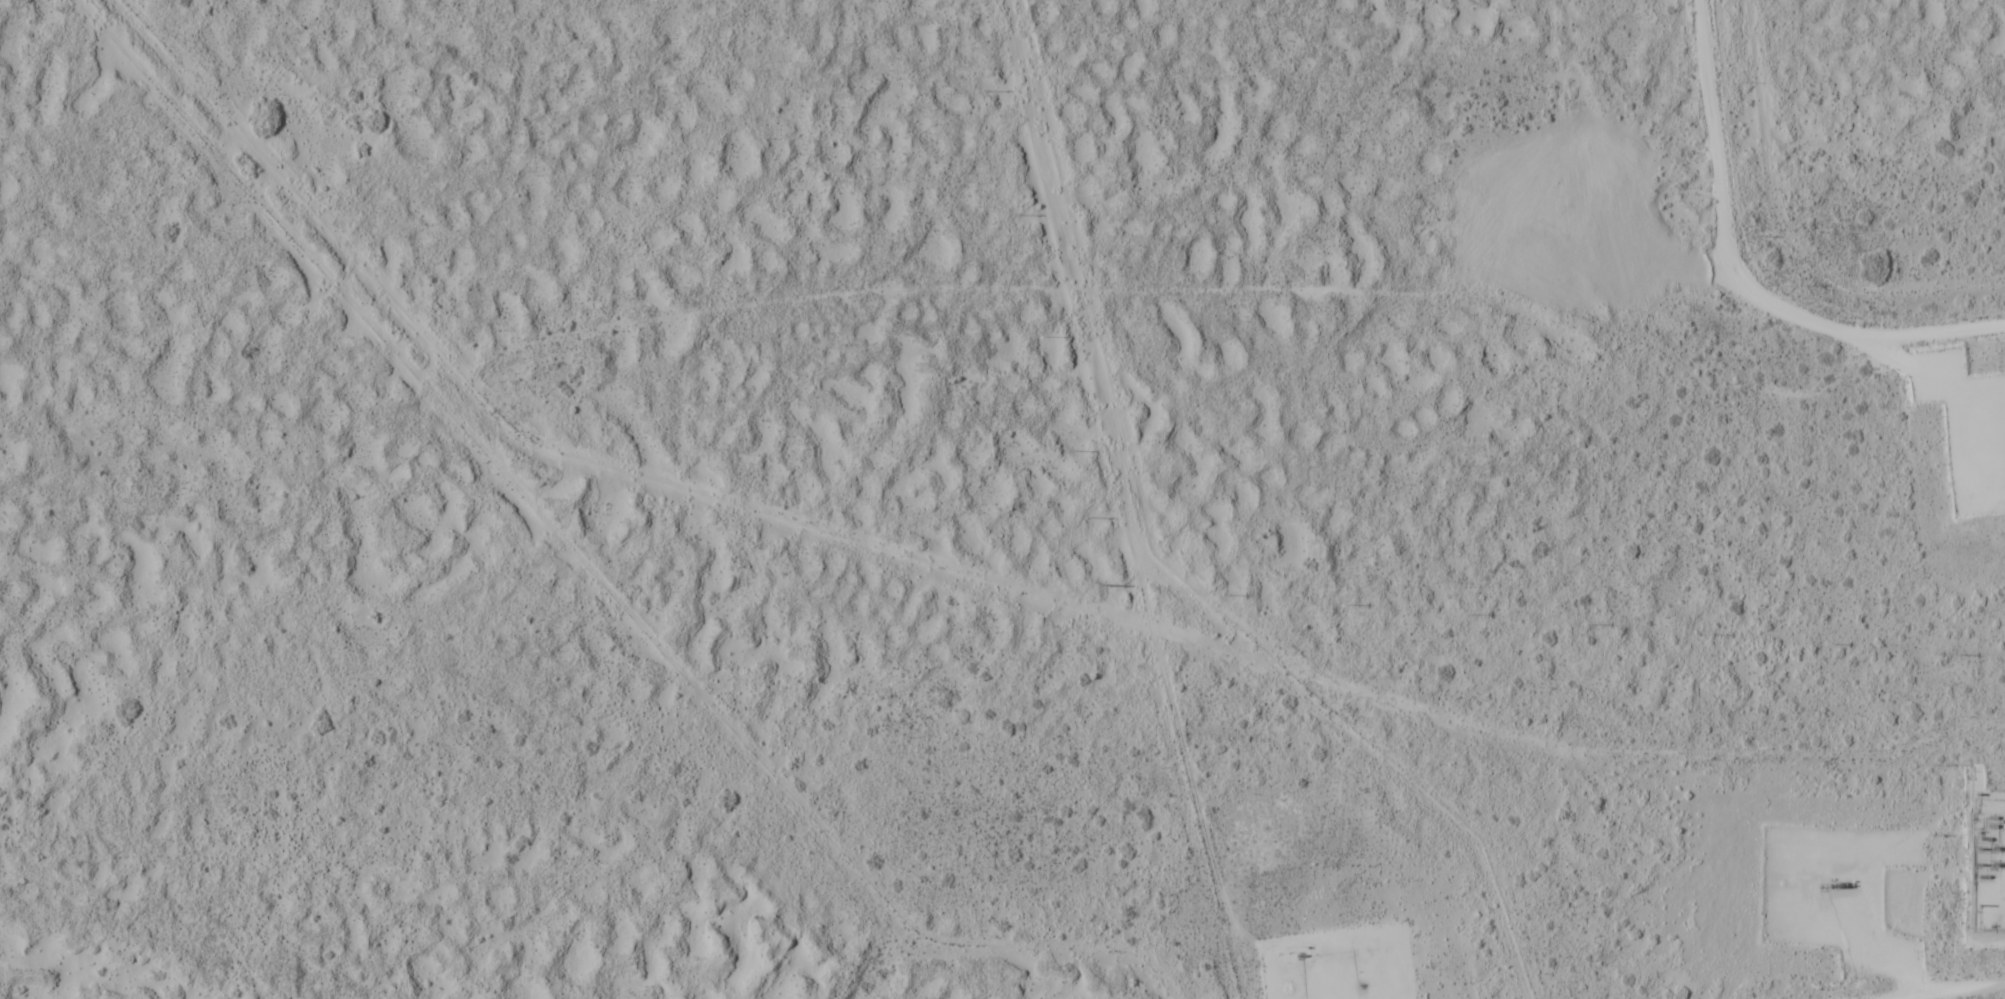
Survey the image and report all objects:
road: (1714, 135)
road: (1799, 314)
road: (1912, 969)
road: (1938, 989)

